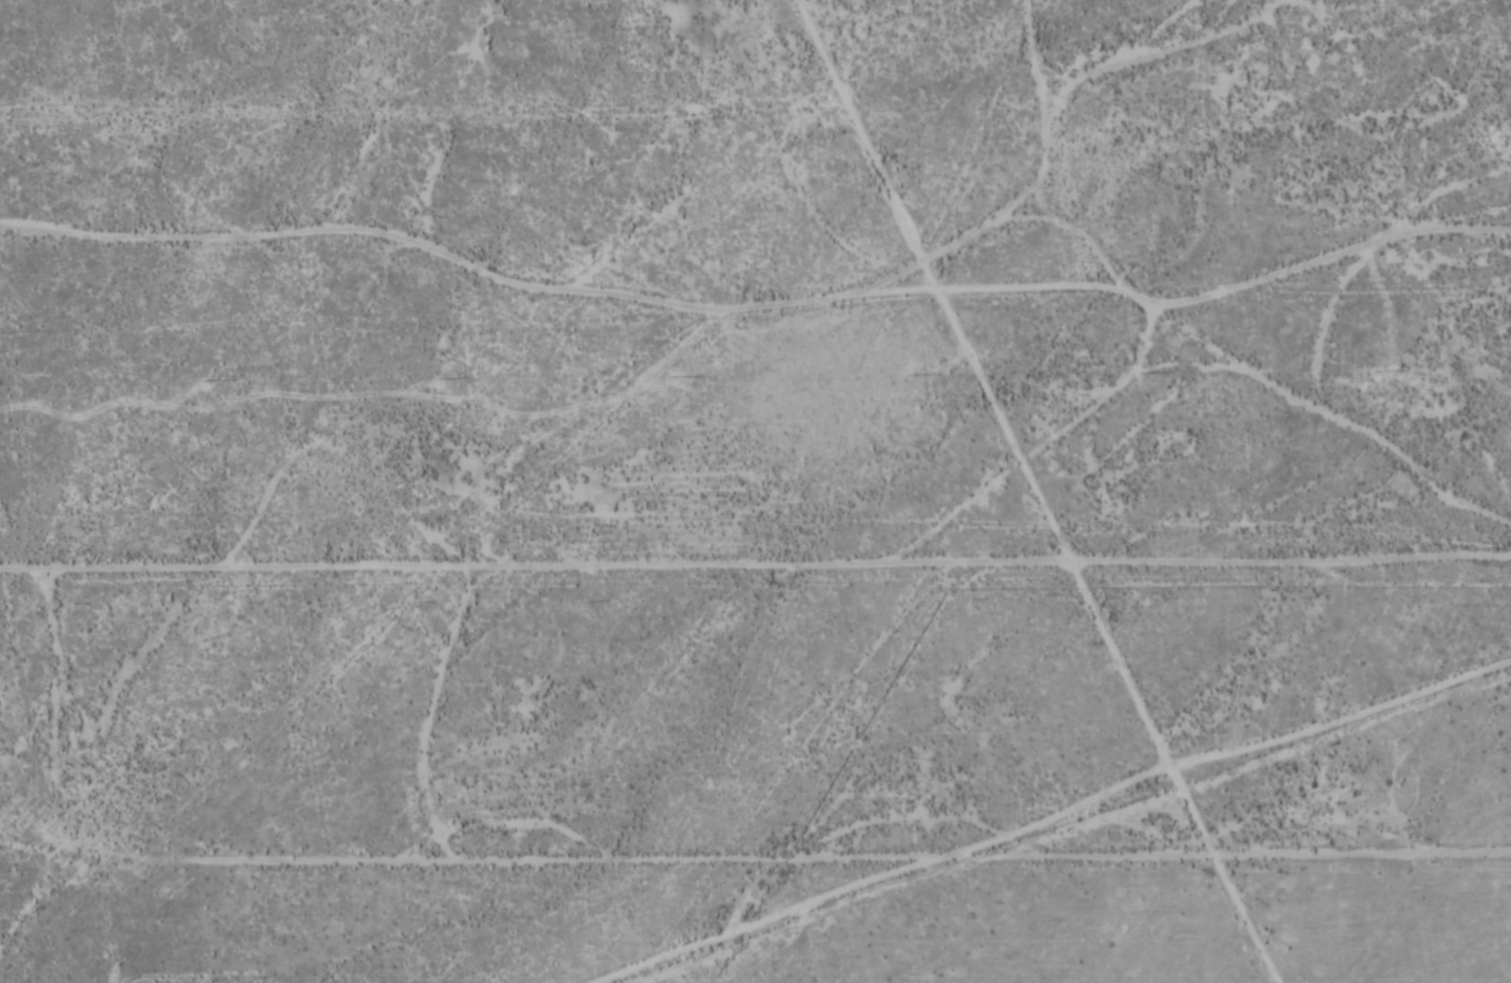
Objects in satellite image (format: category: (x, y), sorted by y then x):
road: (534, 283)
road: (1161, 293)

